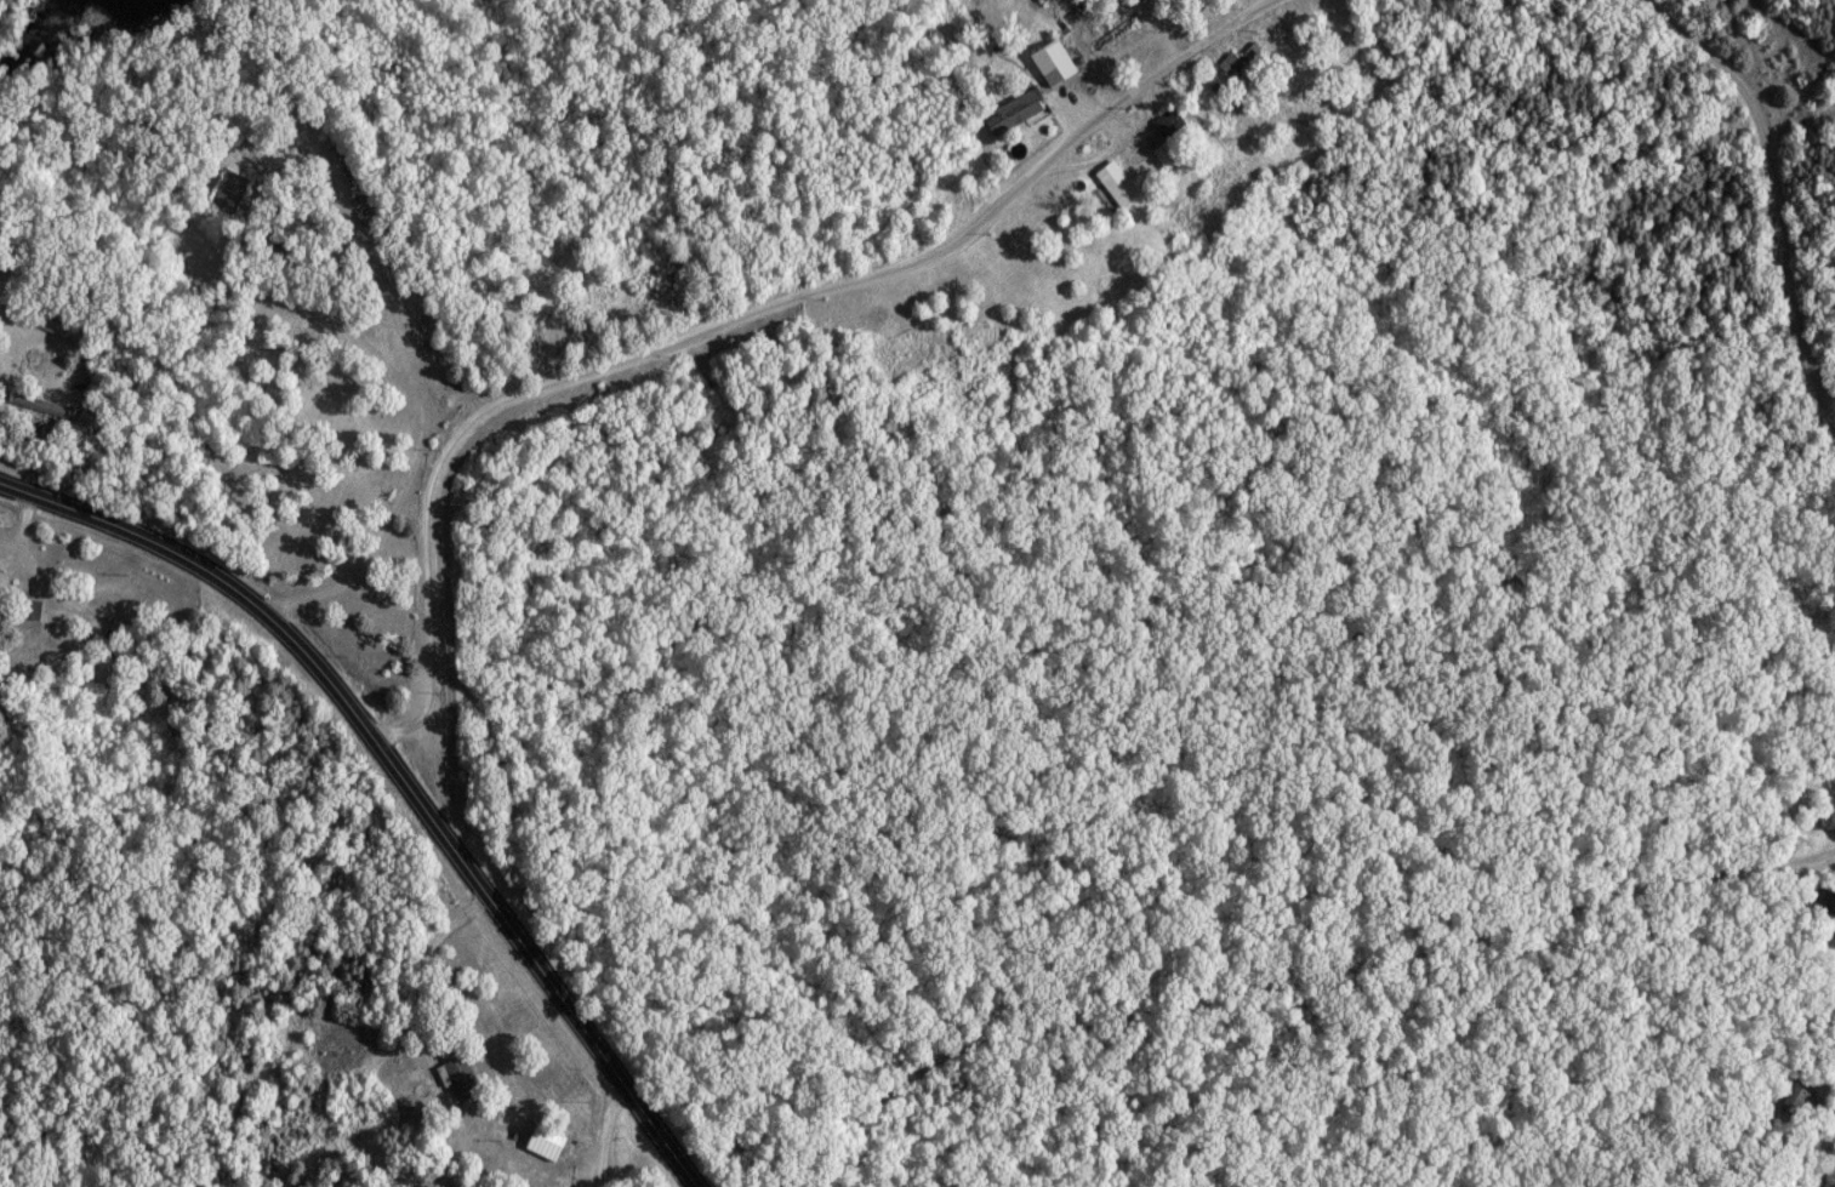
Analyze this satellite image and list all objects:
building: (1122, 32)
building: (1240, 62)
building: (1055, 63)
building: (1016, 113)
building: (1170, 122)
building: (1169, 155)
building: (1117, 187)
building: (230, 193)
road: (1773, 204)
road: (386, 297)
road: (728, 323)
building: (62, 330)
building: (41, 406)
road: (426, 406)
building: (51, 435)
building: (33, 610)
building: (106, 643)
road: (399, 771)
building: (1829, 818)
building: (1830, 902)
road: (1286, 982)
road: (429, 1067)
building: (463, 1079)
building: (1797, 1101)
road: (604, 1137)
building: (548, 1140)
road: (1831, 1168)

